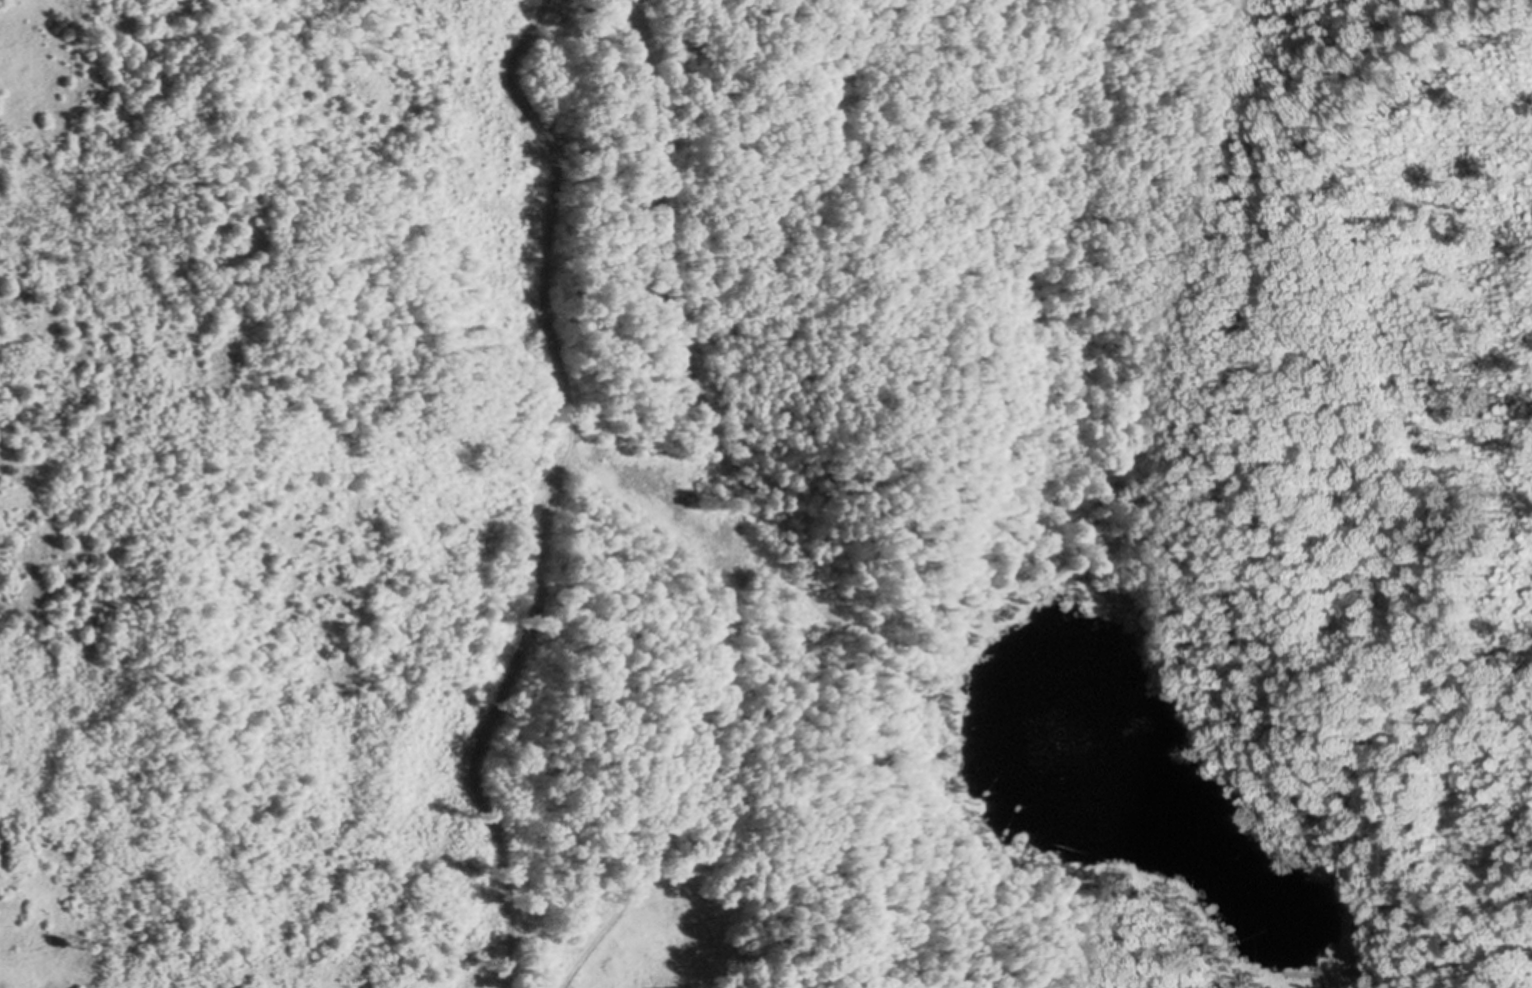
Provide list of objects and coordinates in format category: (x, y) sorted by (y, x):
road: (555, 490)
road: (701, 537)
road: (679, 786)

